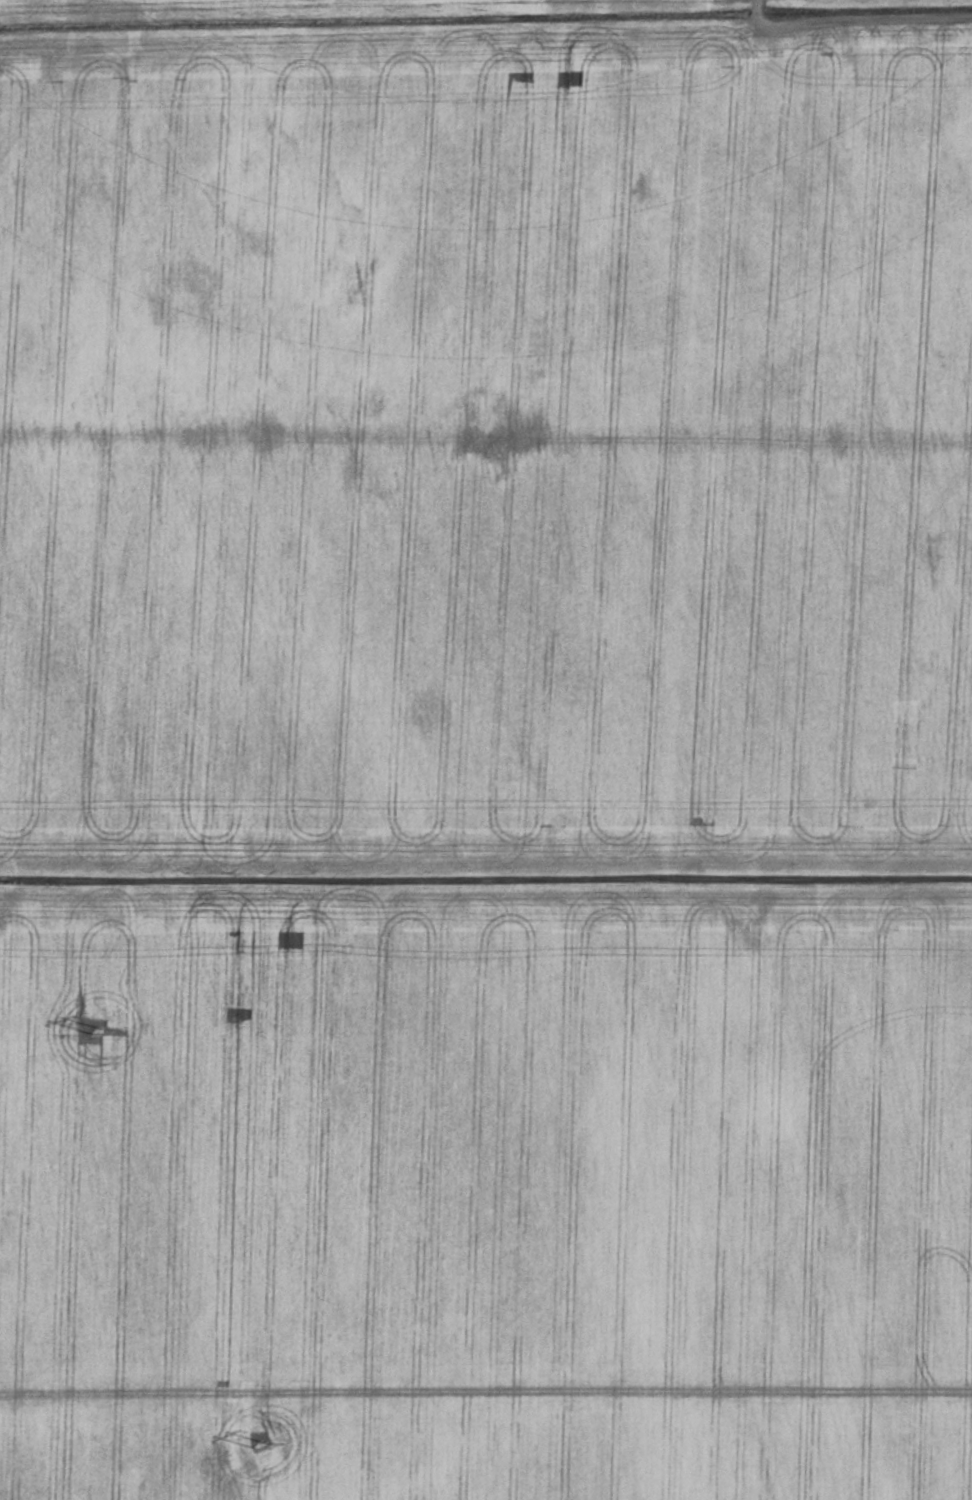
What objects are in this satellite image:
power tower: (96, 1028)
power tower: (259, 1442)

